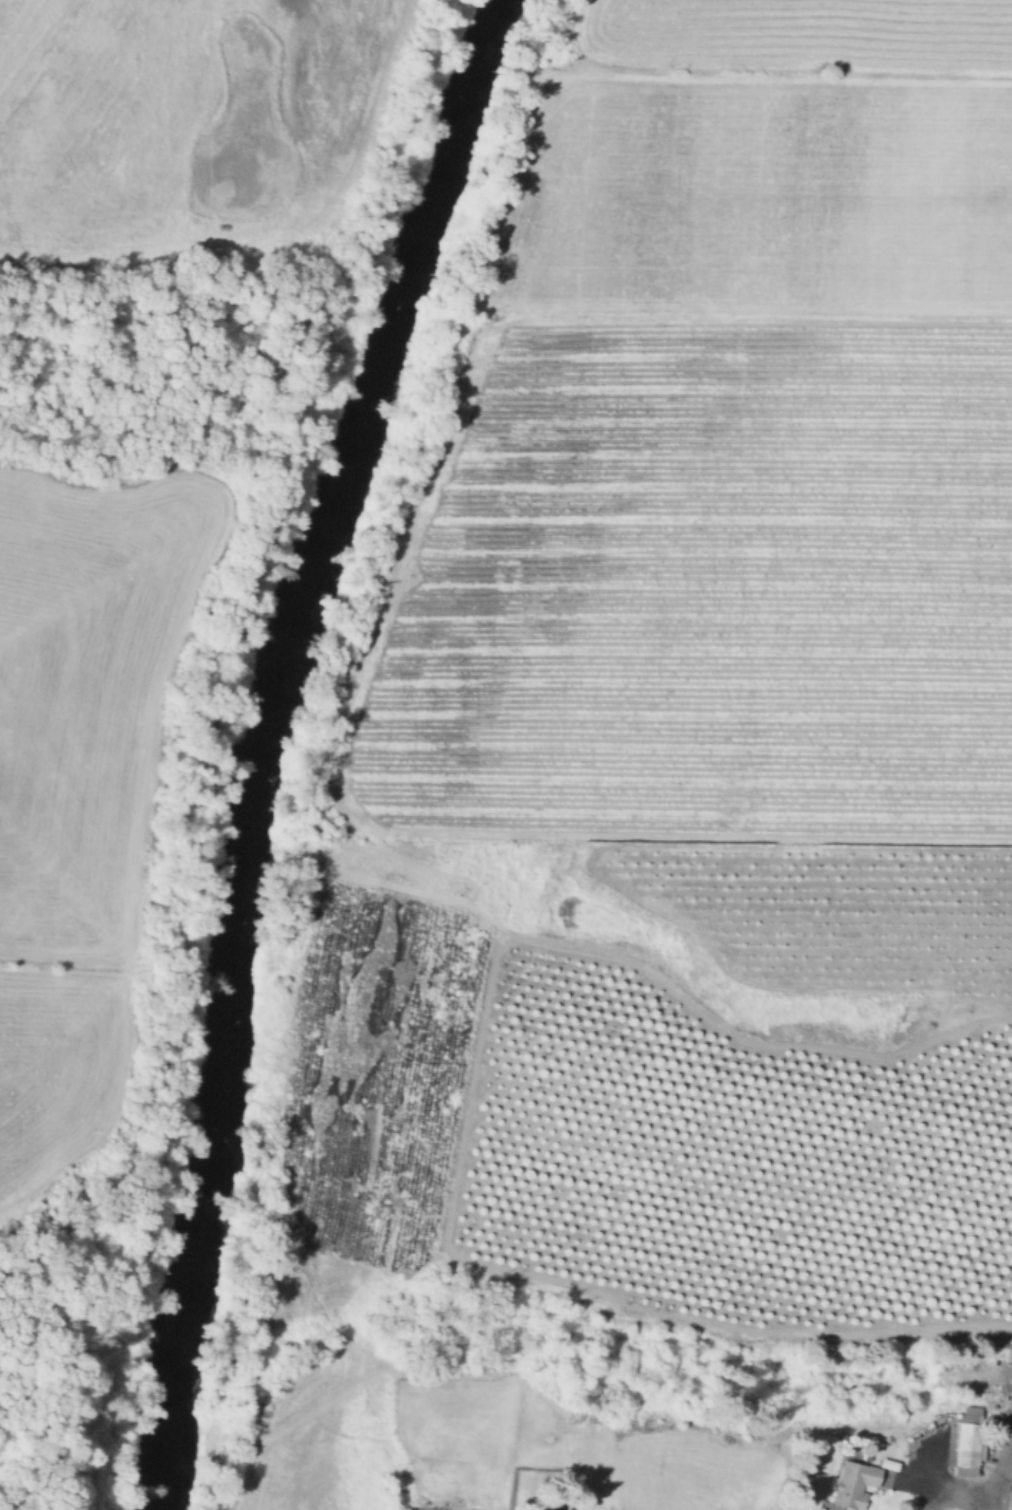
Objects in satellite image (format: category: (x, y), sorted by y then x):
road: (789, 73)
crop: (178, 111)
crop: (756, 198)
road: (489, 334)
road: (134, 501)
river: (243, 734)
crop: (74, 773)
road: (674, 990)
building: (970, 1440)
building: (561, 1443)
road: (997, 1463)
building: (854, 1484)
road: (949, 1497)
building: (1010, 1502)
building: (554, 1509)

